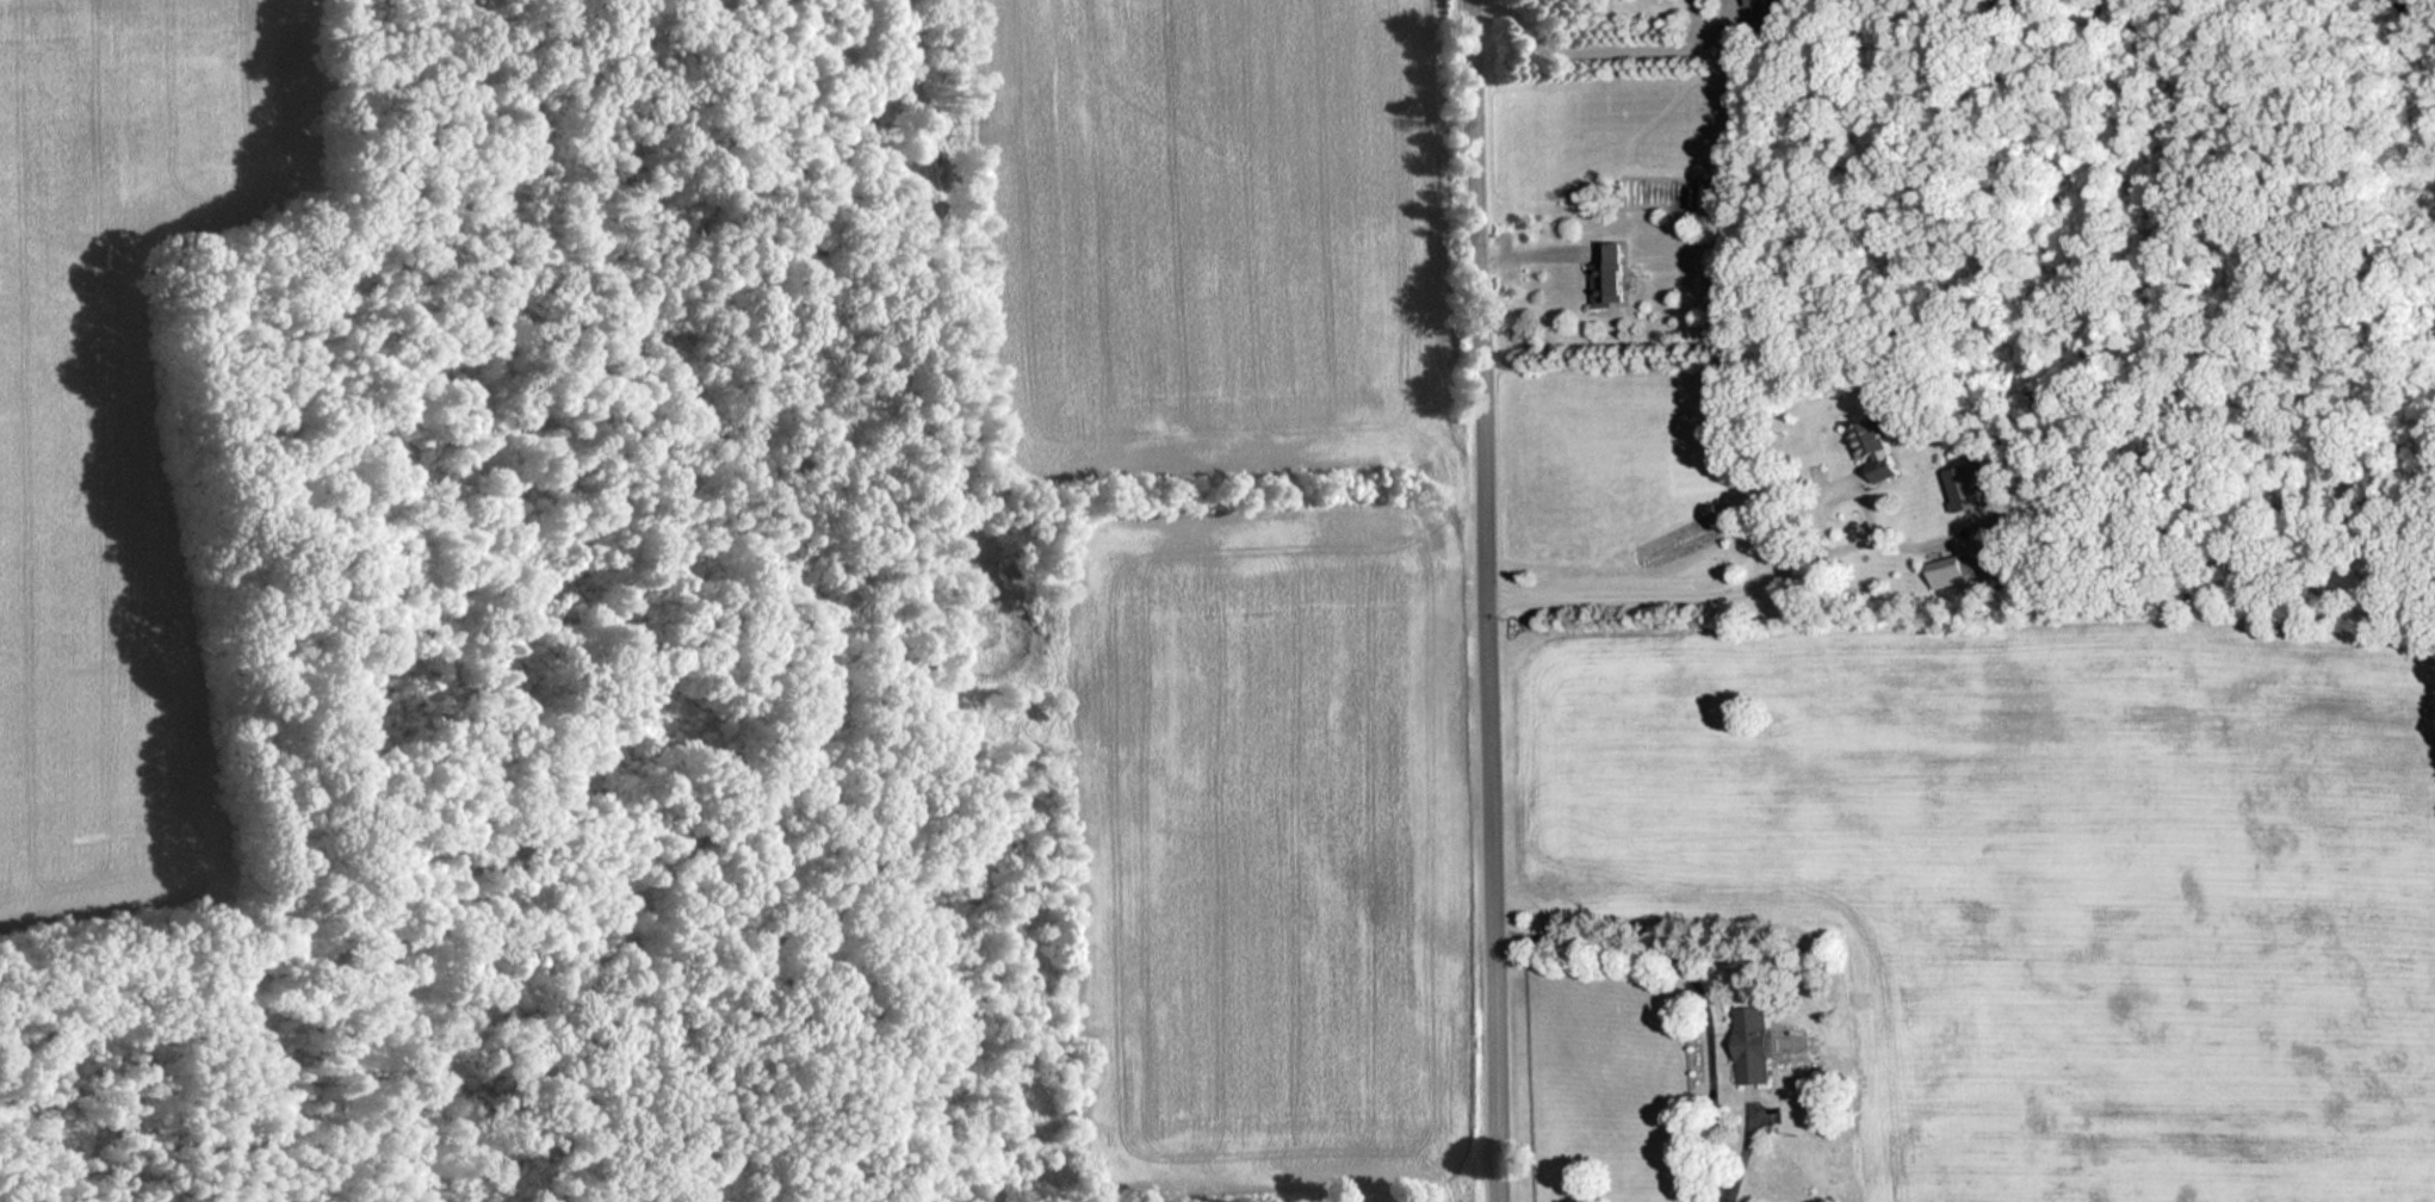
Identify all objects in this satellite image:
building: (1762, 7)
river: (2422, 7)
building: (1611, 275)
building: (1877, 446)
building: (1970, 487)
building: (1954, 570)
road: (1487, 600)
building: (1755, 1043)

